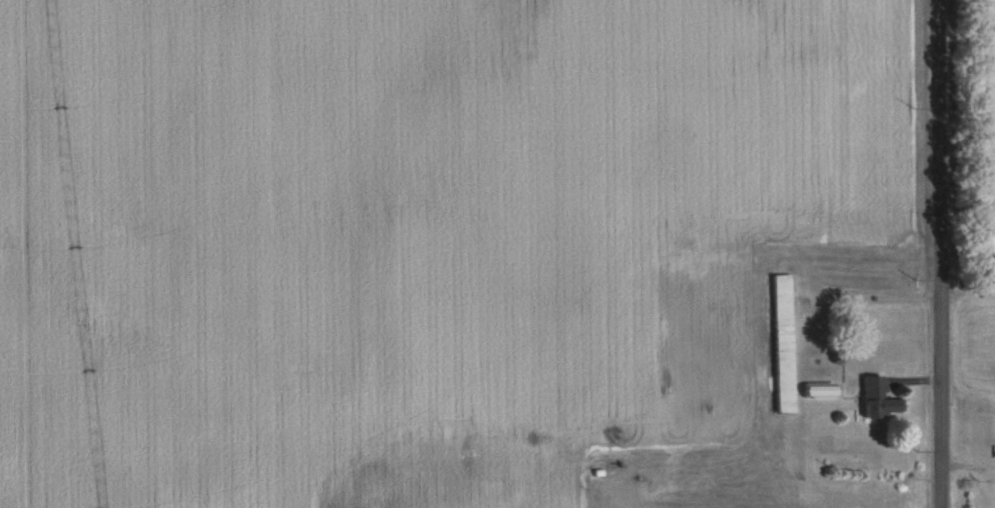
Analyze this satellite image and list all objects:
crop: (981, 129)
crop: (388, 230)
road: (939, 254)
building: (754, 319)
crop: (981, 329)
building: (677, 345)
building: (749, 380)
building: (819, 390)
building: (877, 399)
building: (763, 449)

